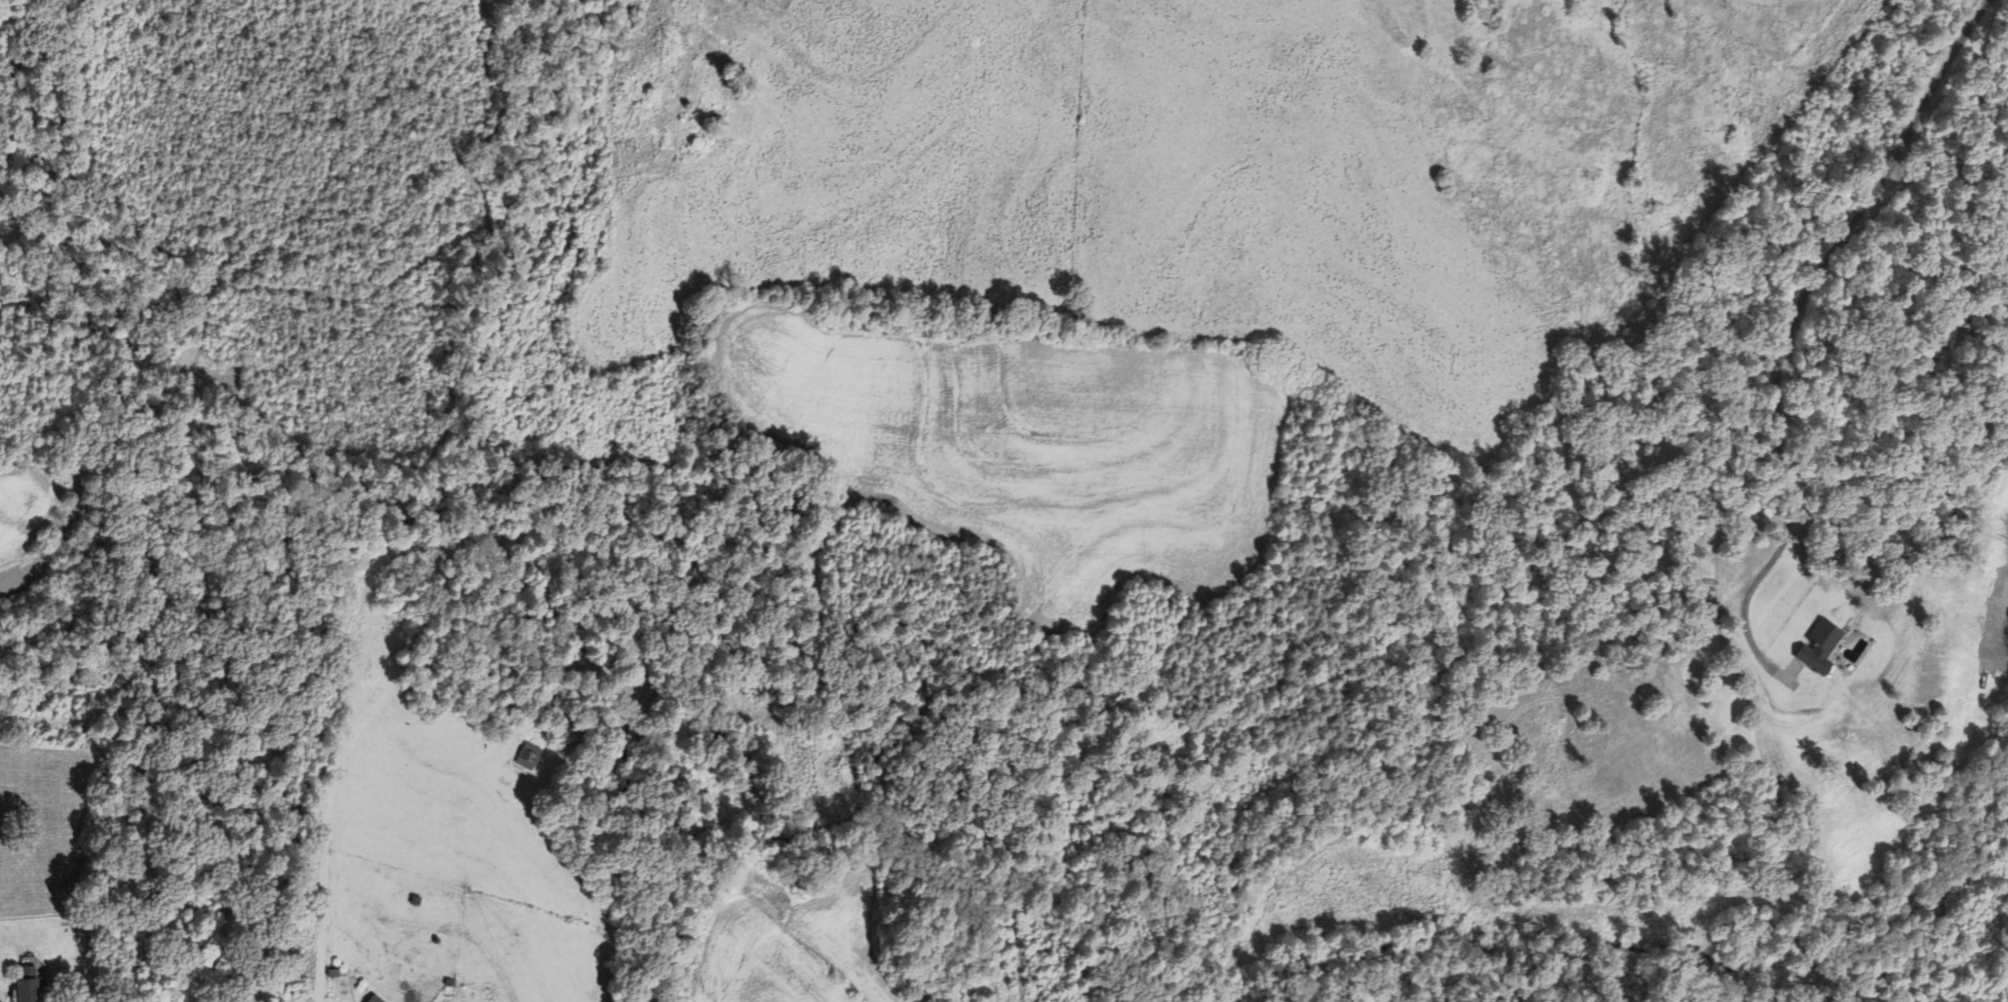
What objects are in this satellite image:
road: (1791, 325)
building: (1817, 646)
building: (528, 755)
building: (27, 985)
building: (373, 999)

